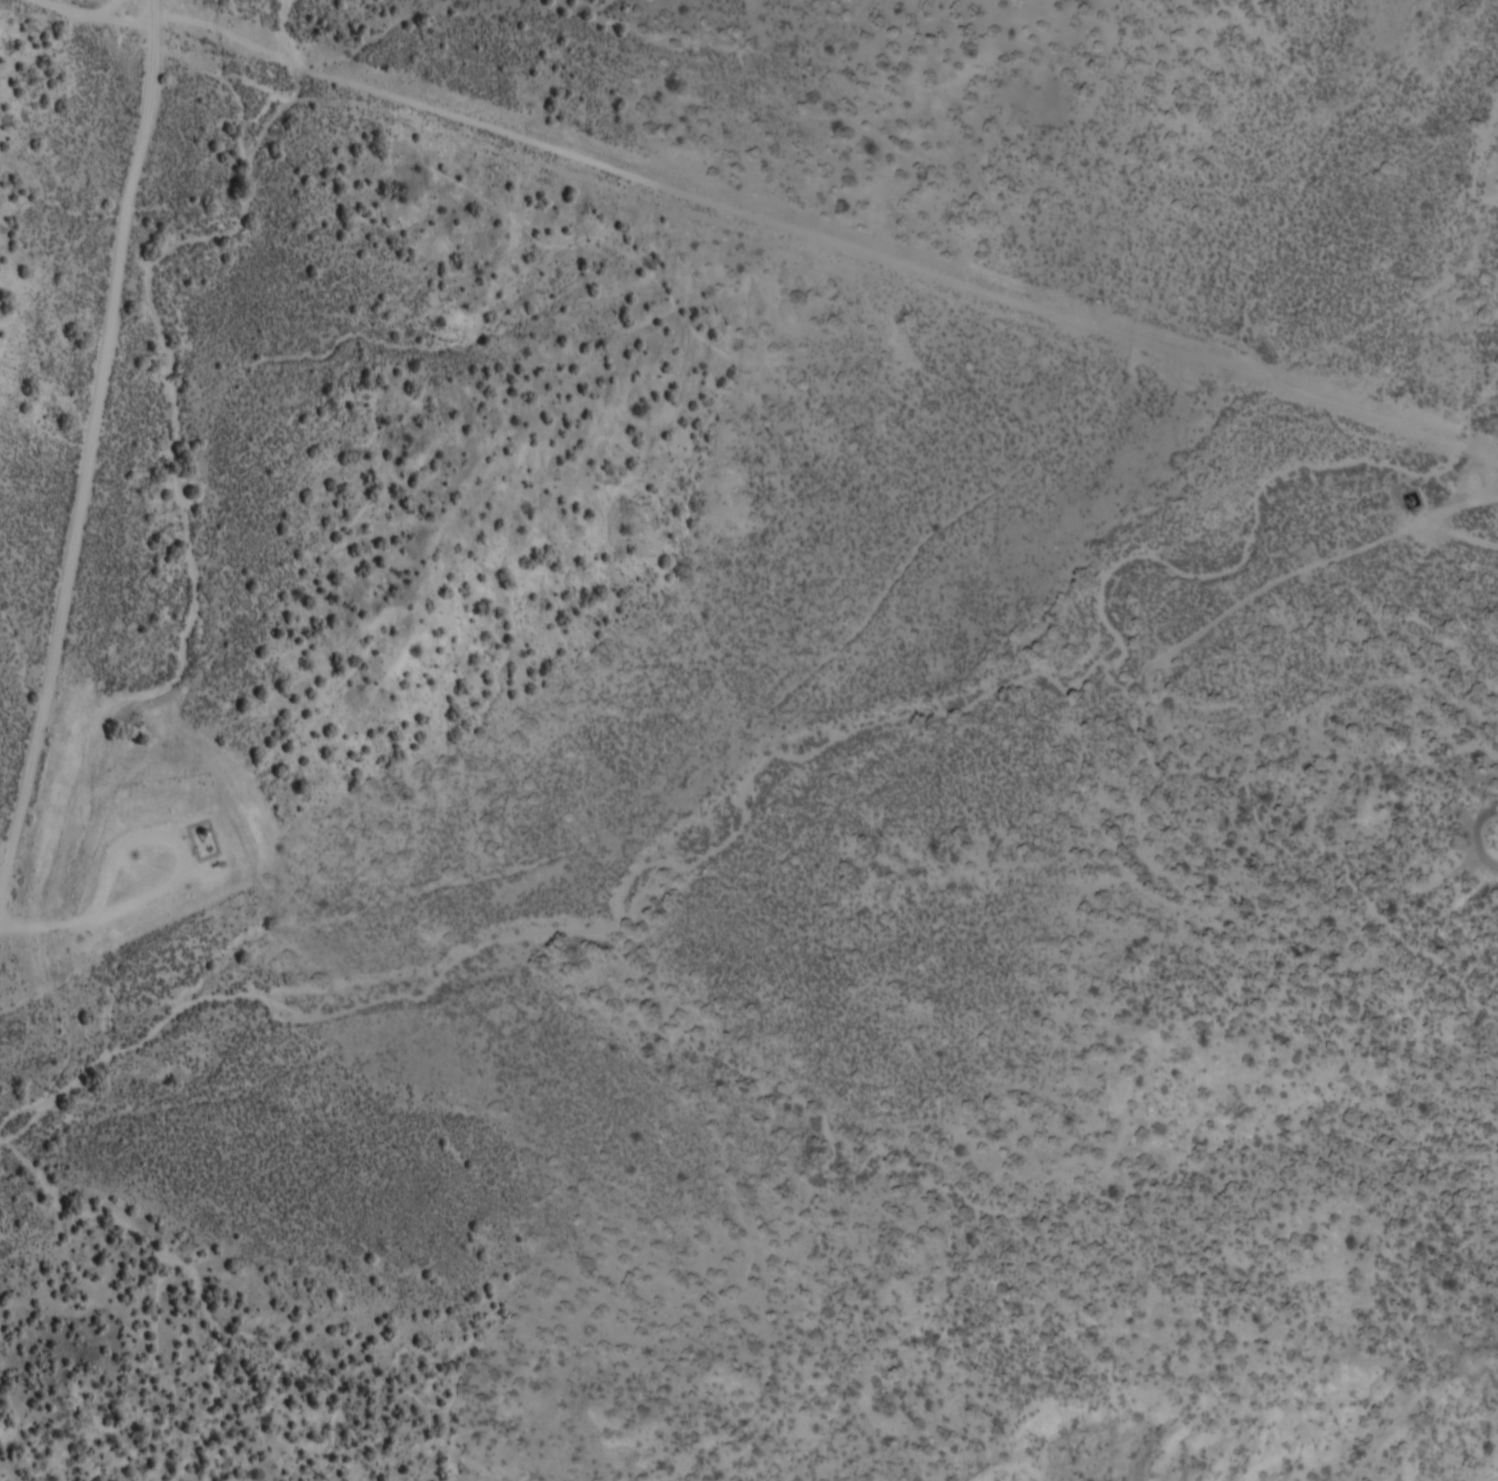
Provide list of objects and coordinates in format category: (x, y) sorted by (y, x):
road: (91, 15)
river: (1484, 176)
road: (822, 258)
road: (79, 402)
road: (1462, 537)
river: (781, 787)

